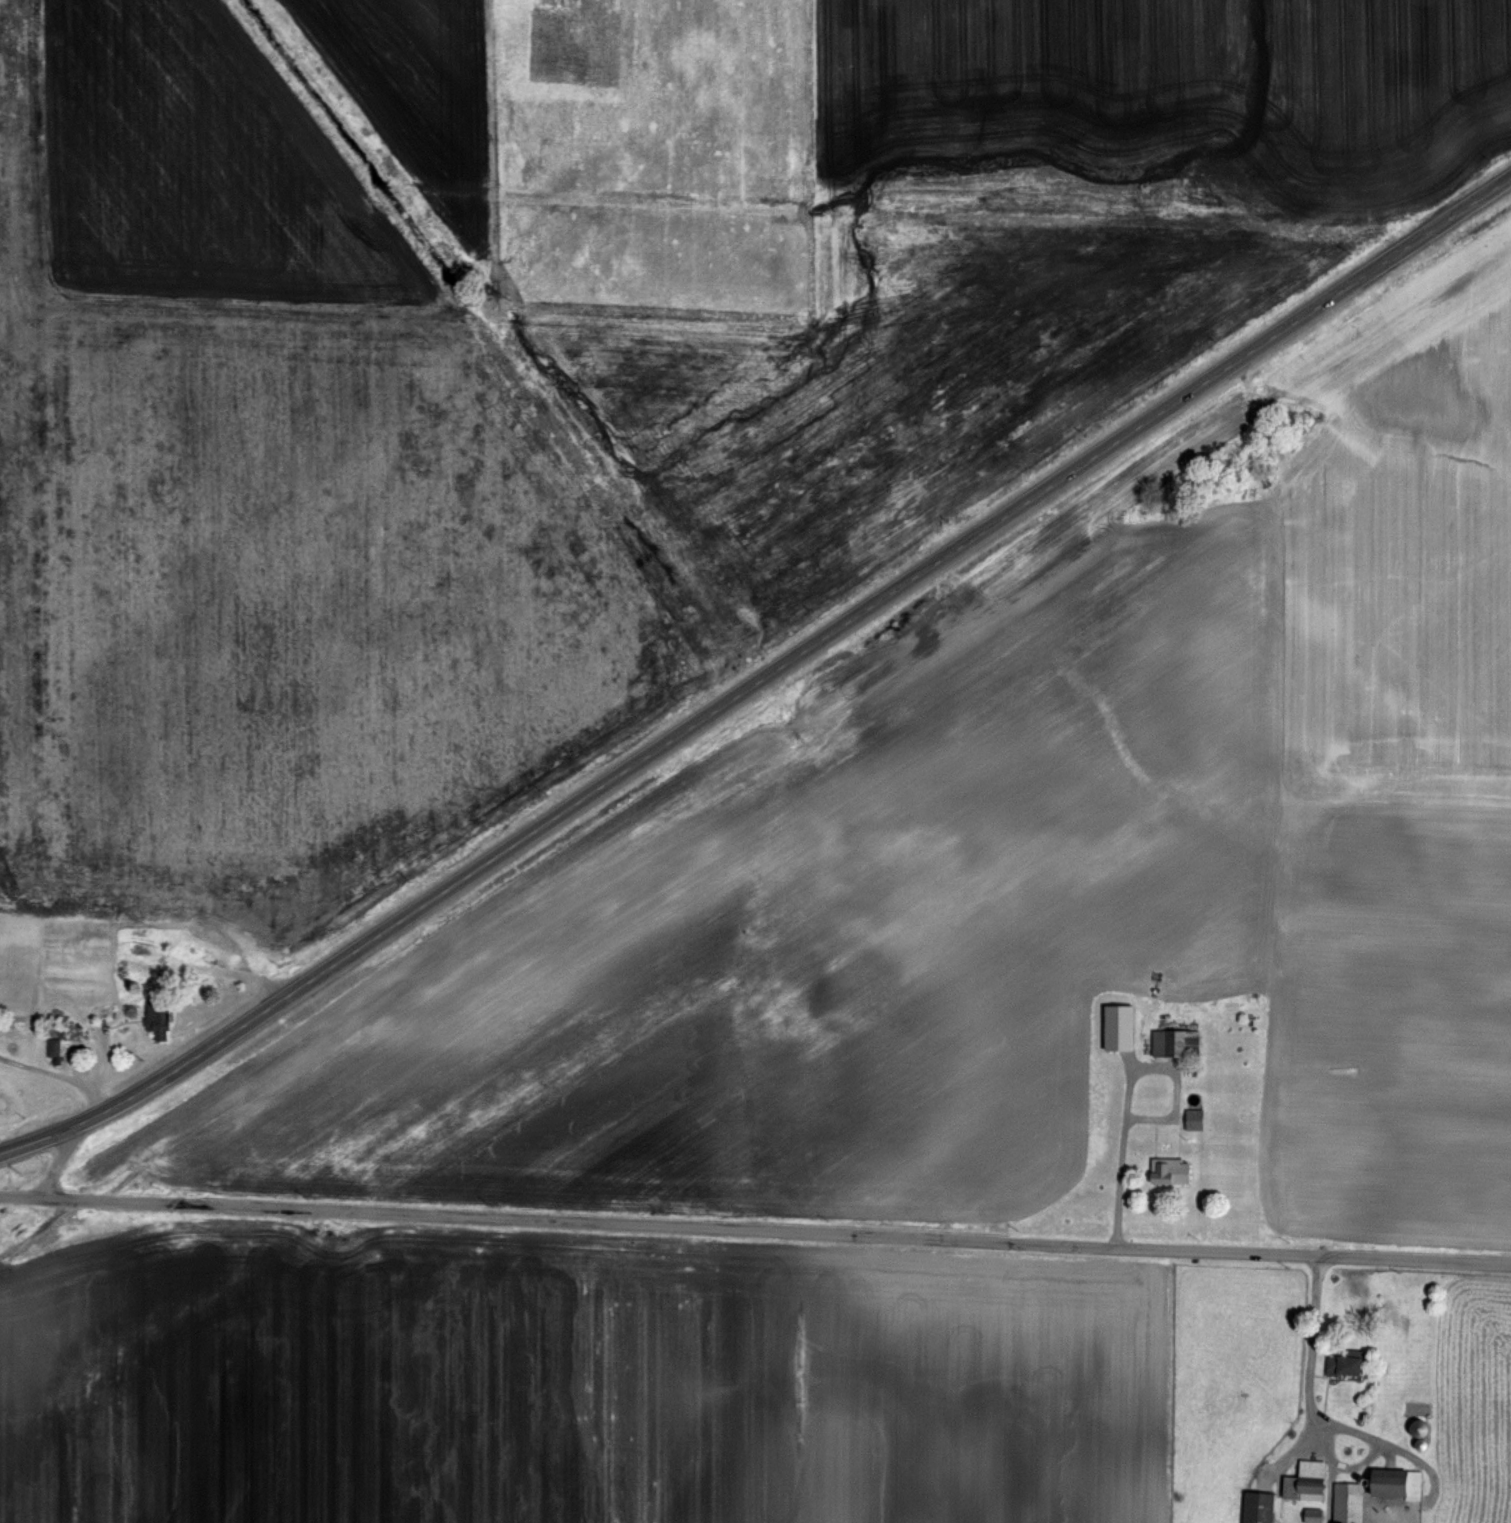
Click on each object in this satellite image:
crop: (770, 582)
road: (762, 679)
building: (154, 1015)
building: (1113, 1026)
road: (89, 1030)
building: (1171, 1041)
building: (47, 1046)
building: (54, 1050)
road: (57, 1073)
road: (1128, 1091)
building: (1190, 1116)
road: (56, 1162)
building: (1164, 1169)
road: (755, 1228)
crop: (760, 1354)
road: (1312, 1358)
building: (1338, 1362)
building: (1424, 1434)
building: (1299, 1479)
building: (1389, 1481)
building: (1342, 1503)
building: (1251, 1507)
building: (1307, 1514)

